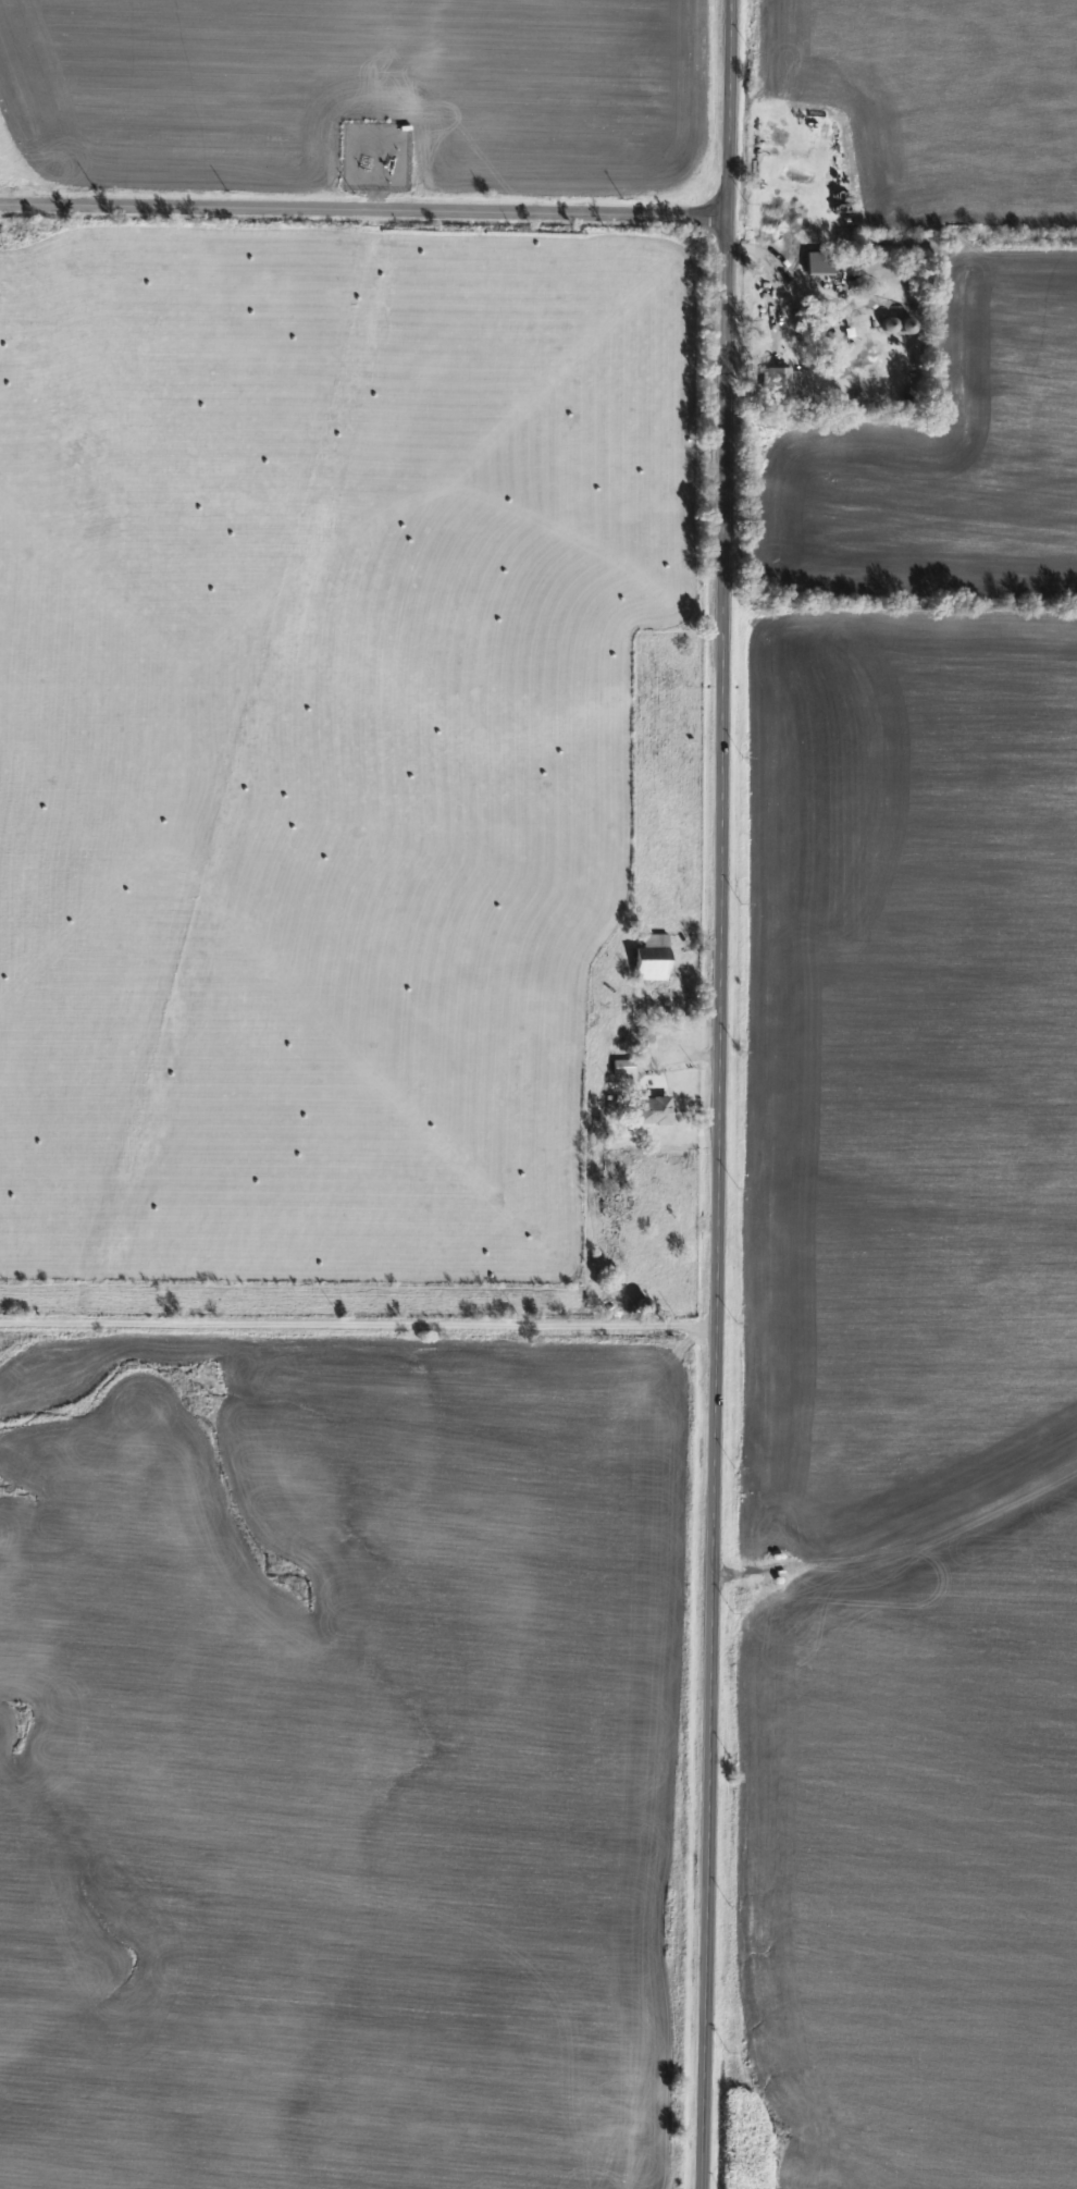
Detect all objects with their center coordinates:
road: (341, 212)
road: (703, 214)
building: (817, 263)
building: (903, 325)
building: (776, 380)
building: (648, 957)
building: (621, 1066)
road: (717, 1094)
building: (649, 1109)
building: (609, 1243)
road: (355, 1323)

